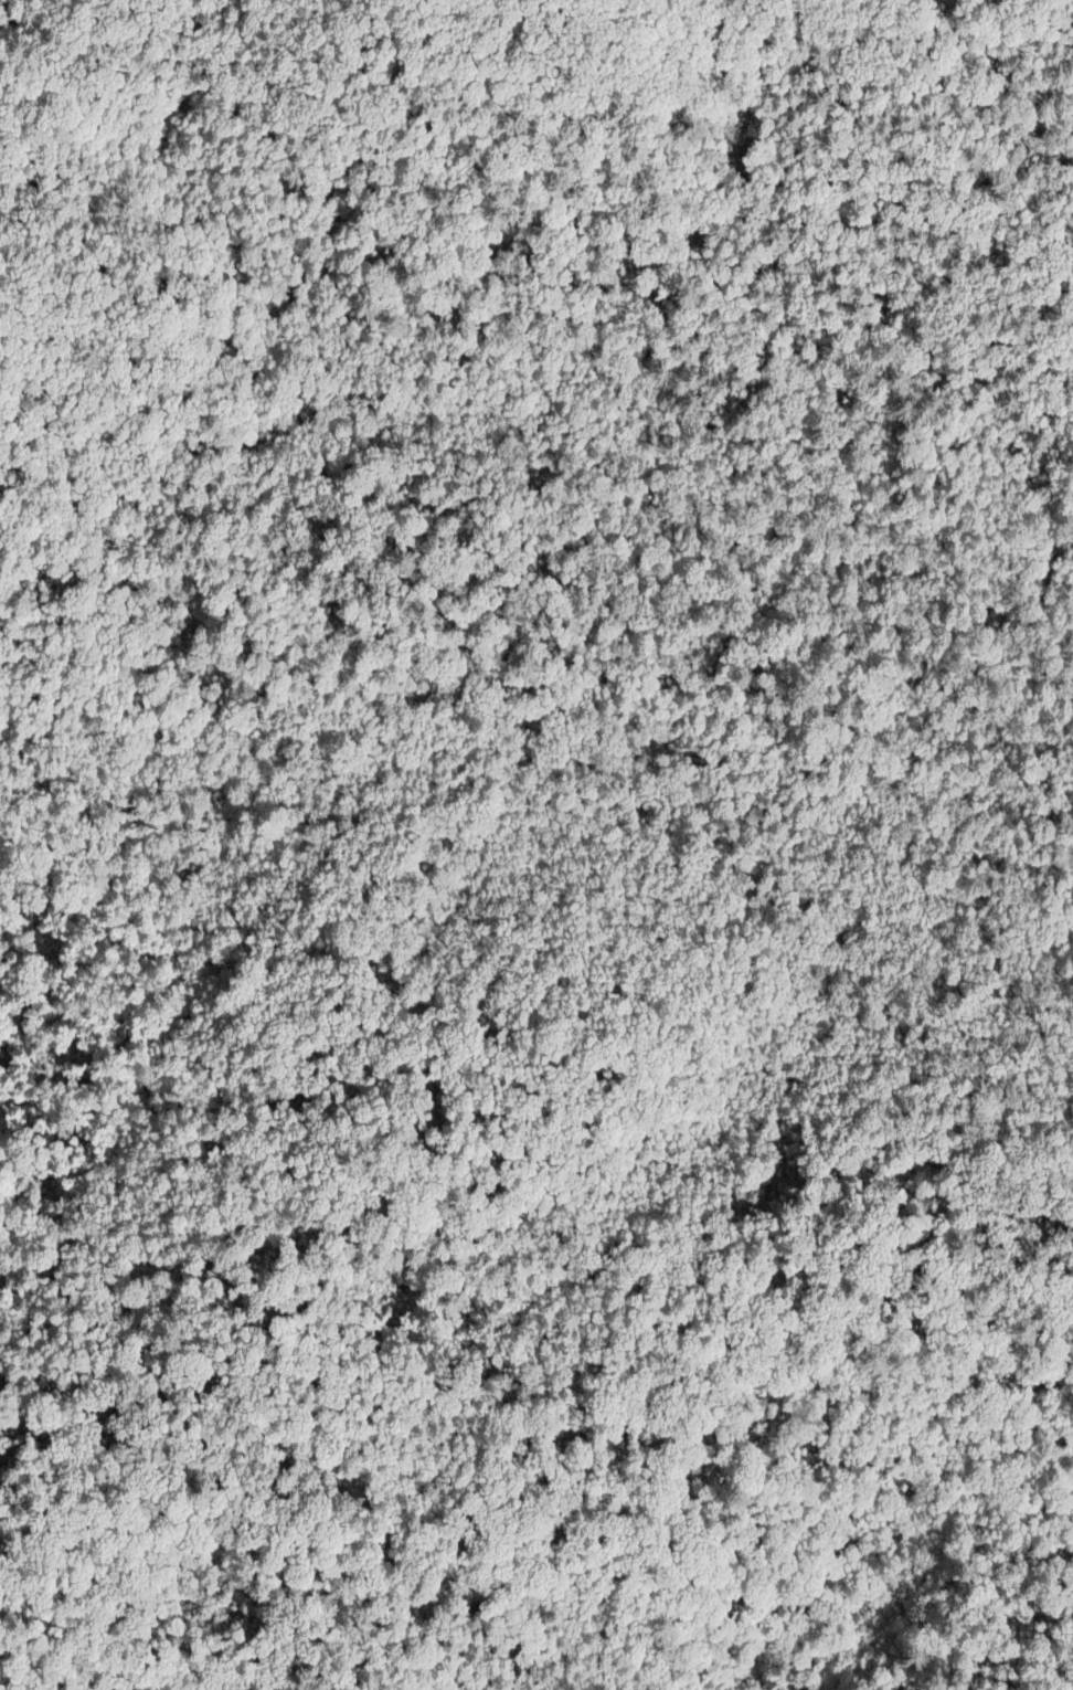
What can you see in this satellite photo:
road: (391, 1427)

